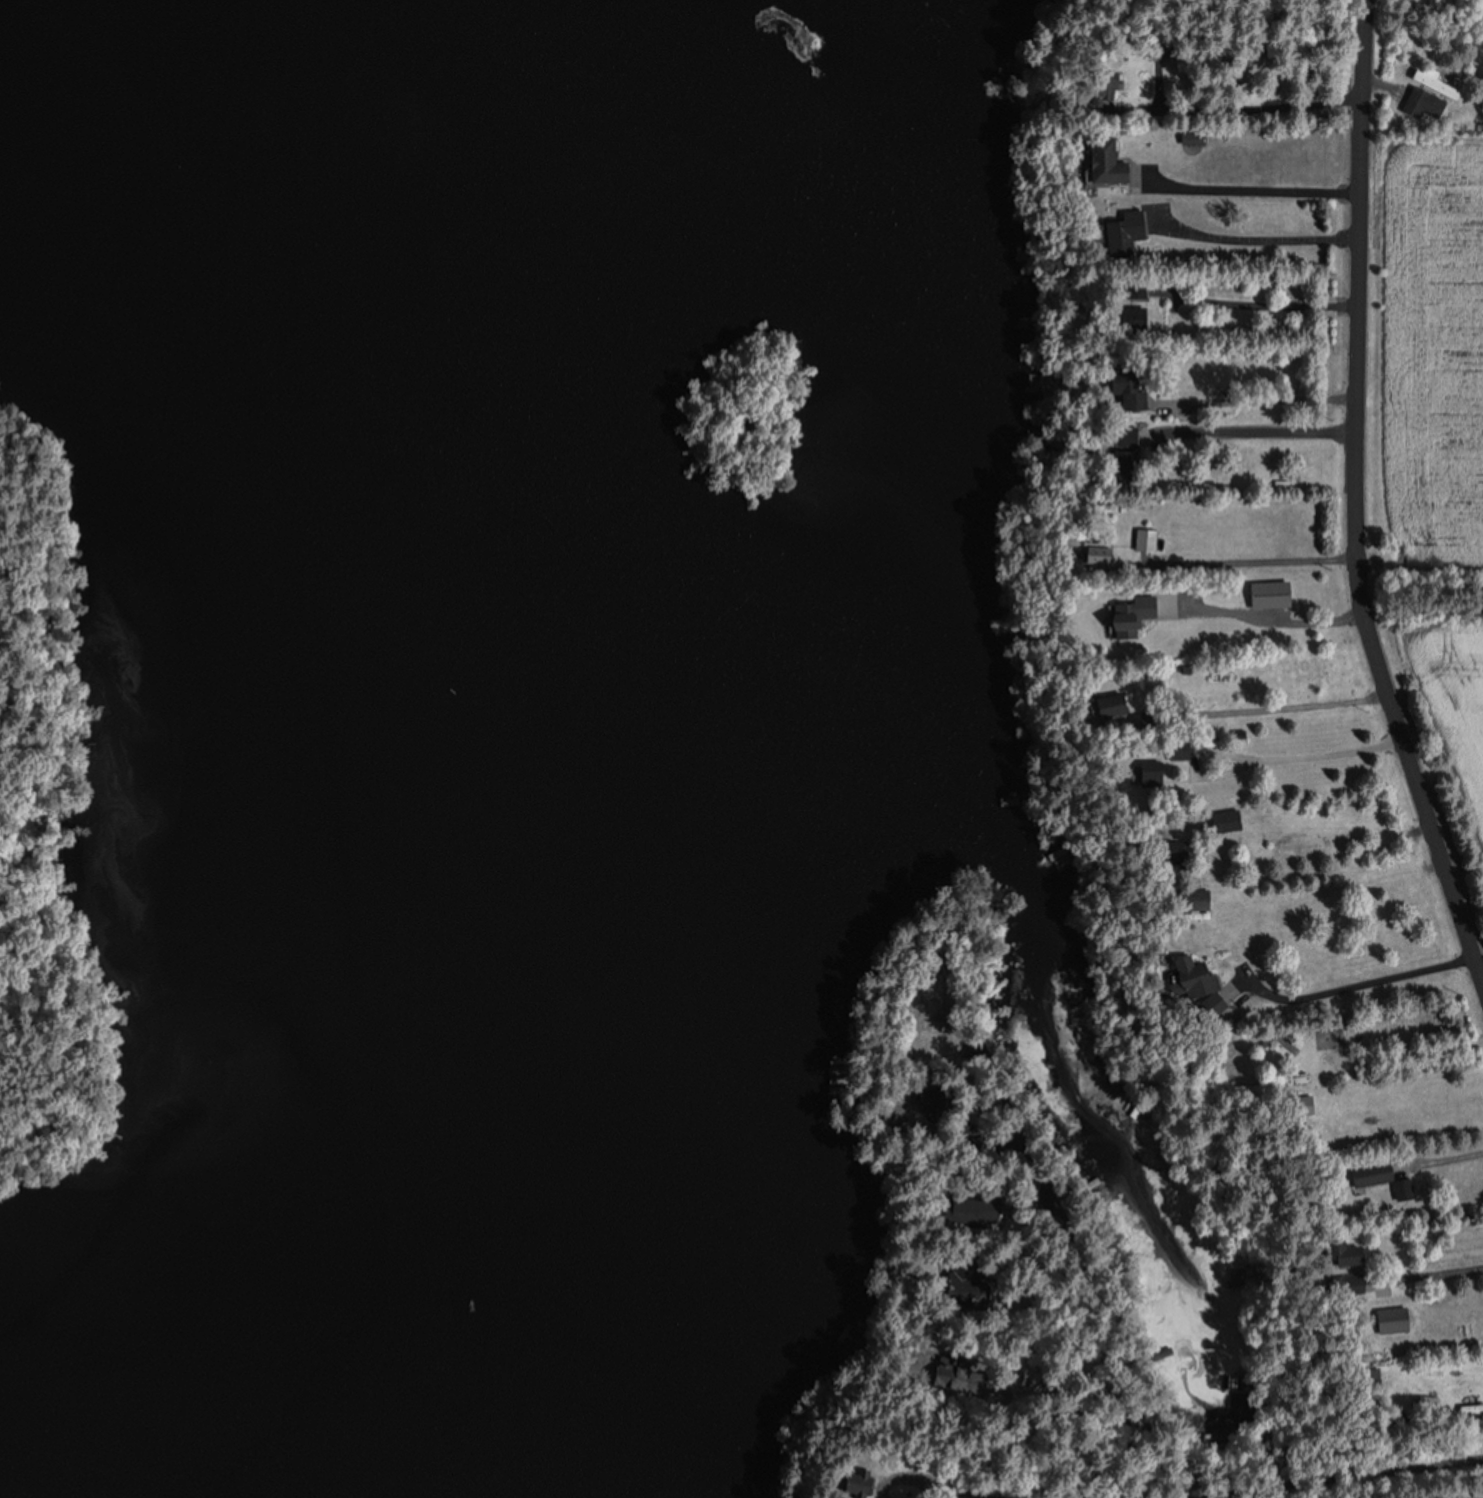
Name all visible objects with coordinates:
road: (1248, 76)
building: (1430, 81)
building: (1095, 84)
building: (1420, 104)
building: (1187, 137)
building: (1096, 160)
building: (1116, 229)
building: (1118, 315)
building: (1118, 387)
building: (1118, 436)
building: (1115, 465)
road: (1354, 500)
building: (1142, 539)
road: (1419, 589)
building: (1124, 615)
building: (1262, 643)
building: (1099, 704)
building: (1173, 749)
building: (1144, 772)
building: (1222, 820)
building: (1188, 899)
building: (1186, 984)
building: (1297, 1105)
building: (1368, 1173)
building: (961, 1209)
building: (1337, 1251)
building: (1343, 1285)
building: (1387, 1320)
road: (1420, 1460)

